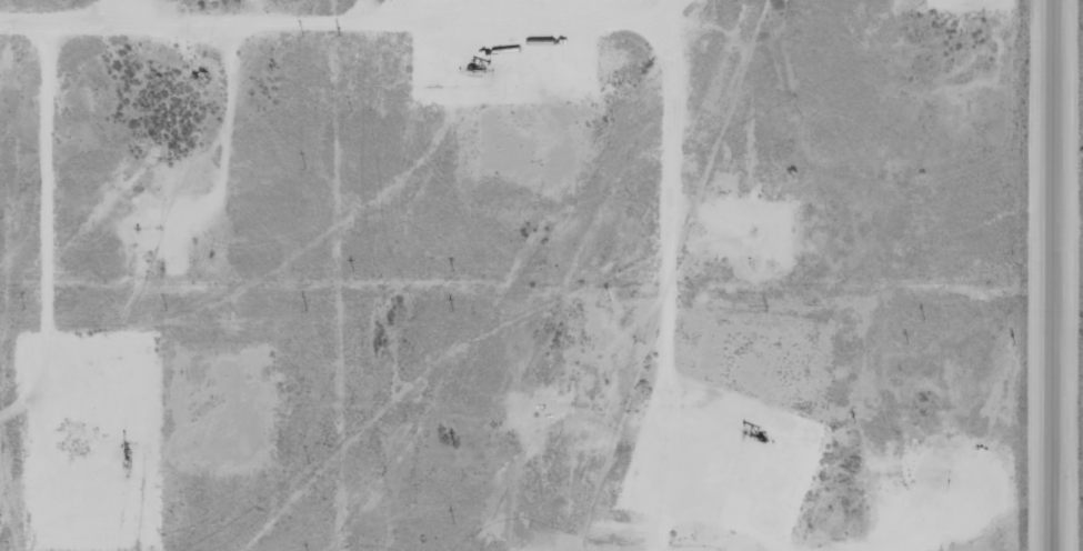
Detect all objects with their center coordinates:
road: (352, 10)
road: (369, 20)
road: (51, 201)
road: (668, 275)
road: (1047, 275)

